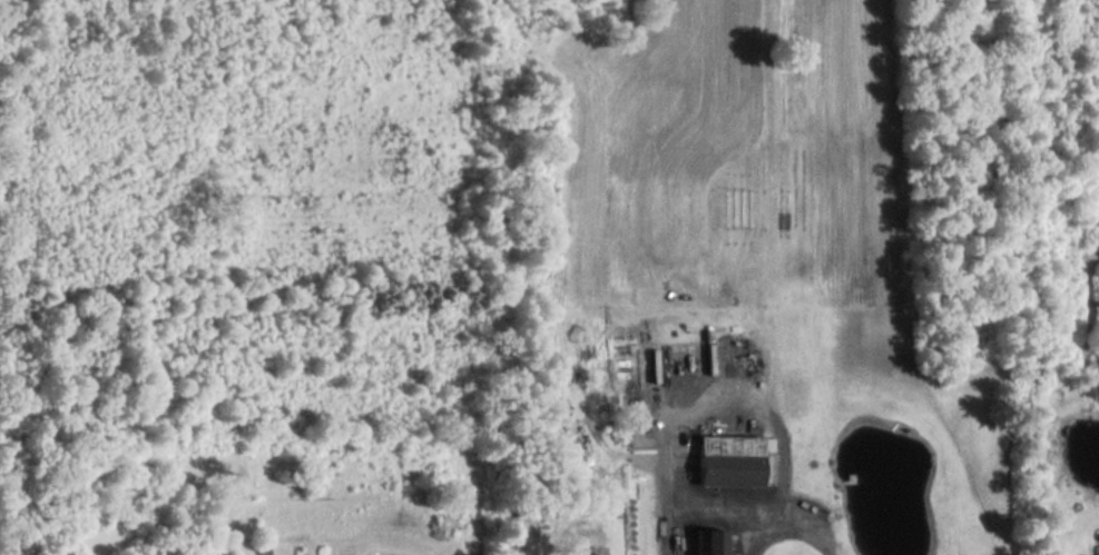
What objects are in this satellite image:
building: (725, 463)
road: (791, 528)
building: (710, 544)
building: (1095, 551)

